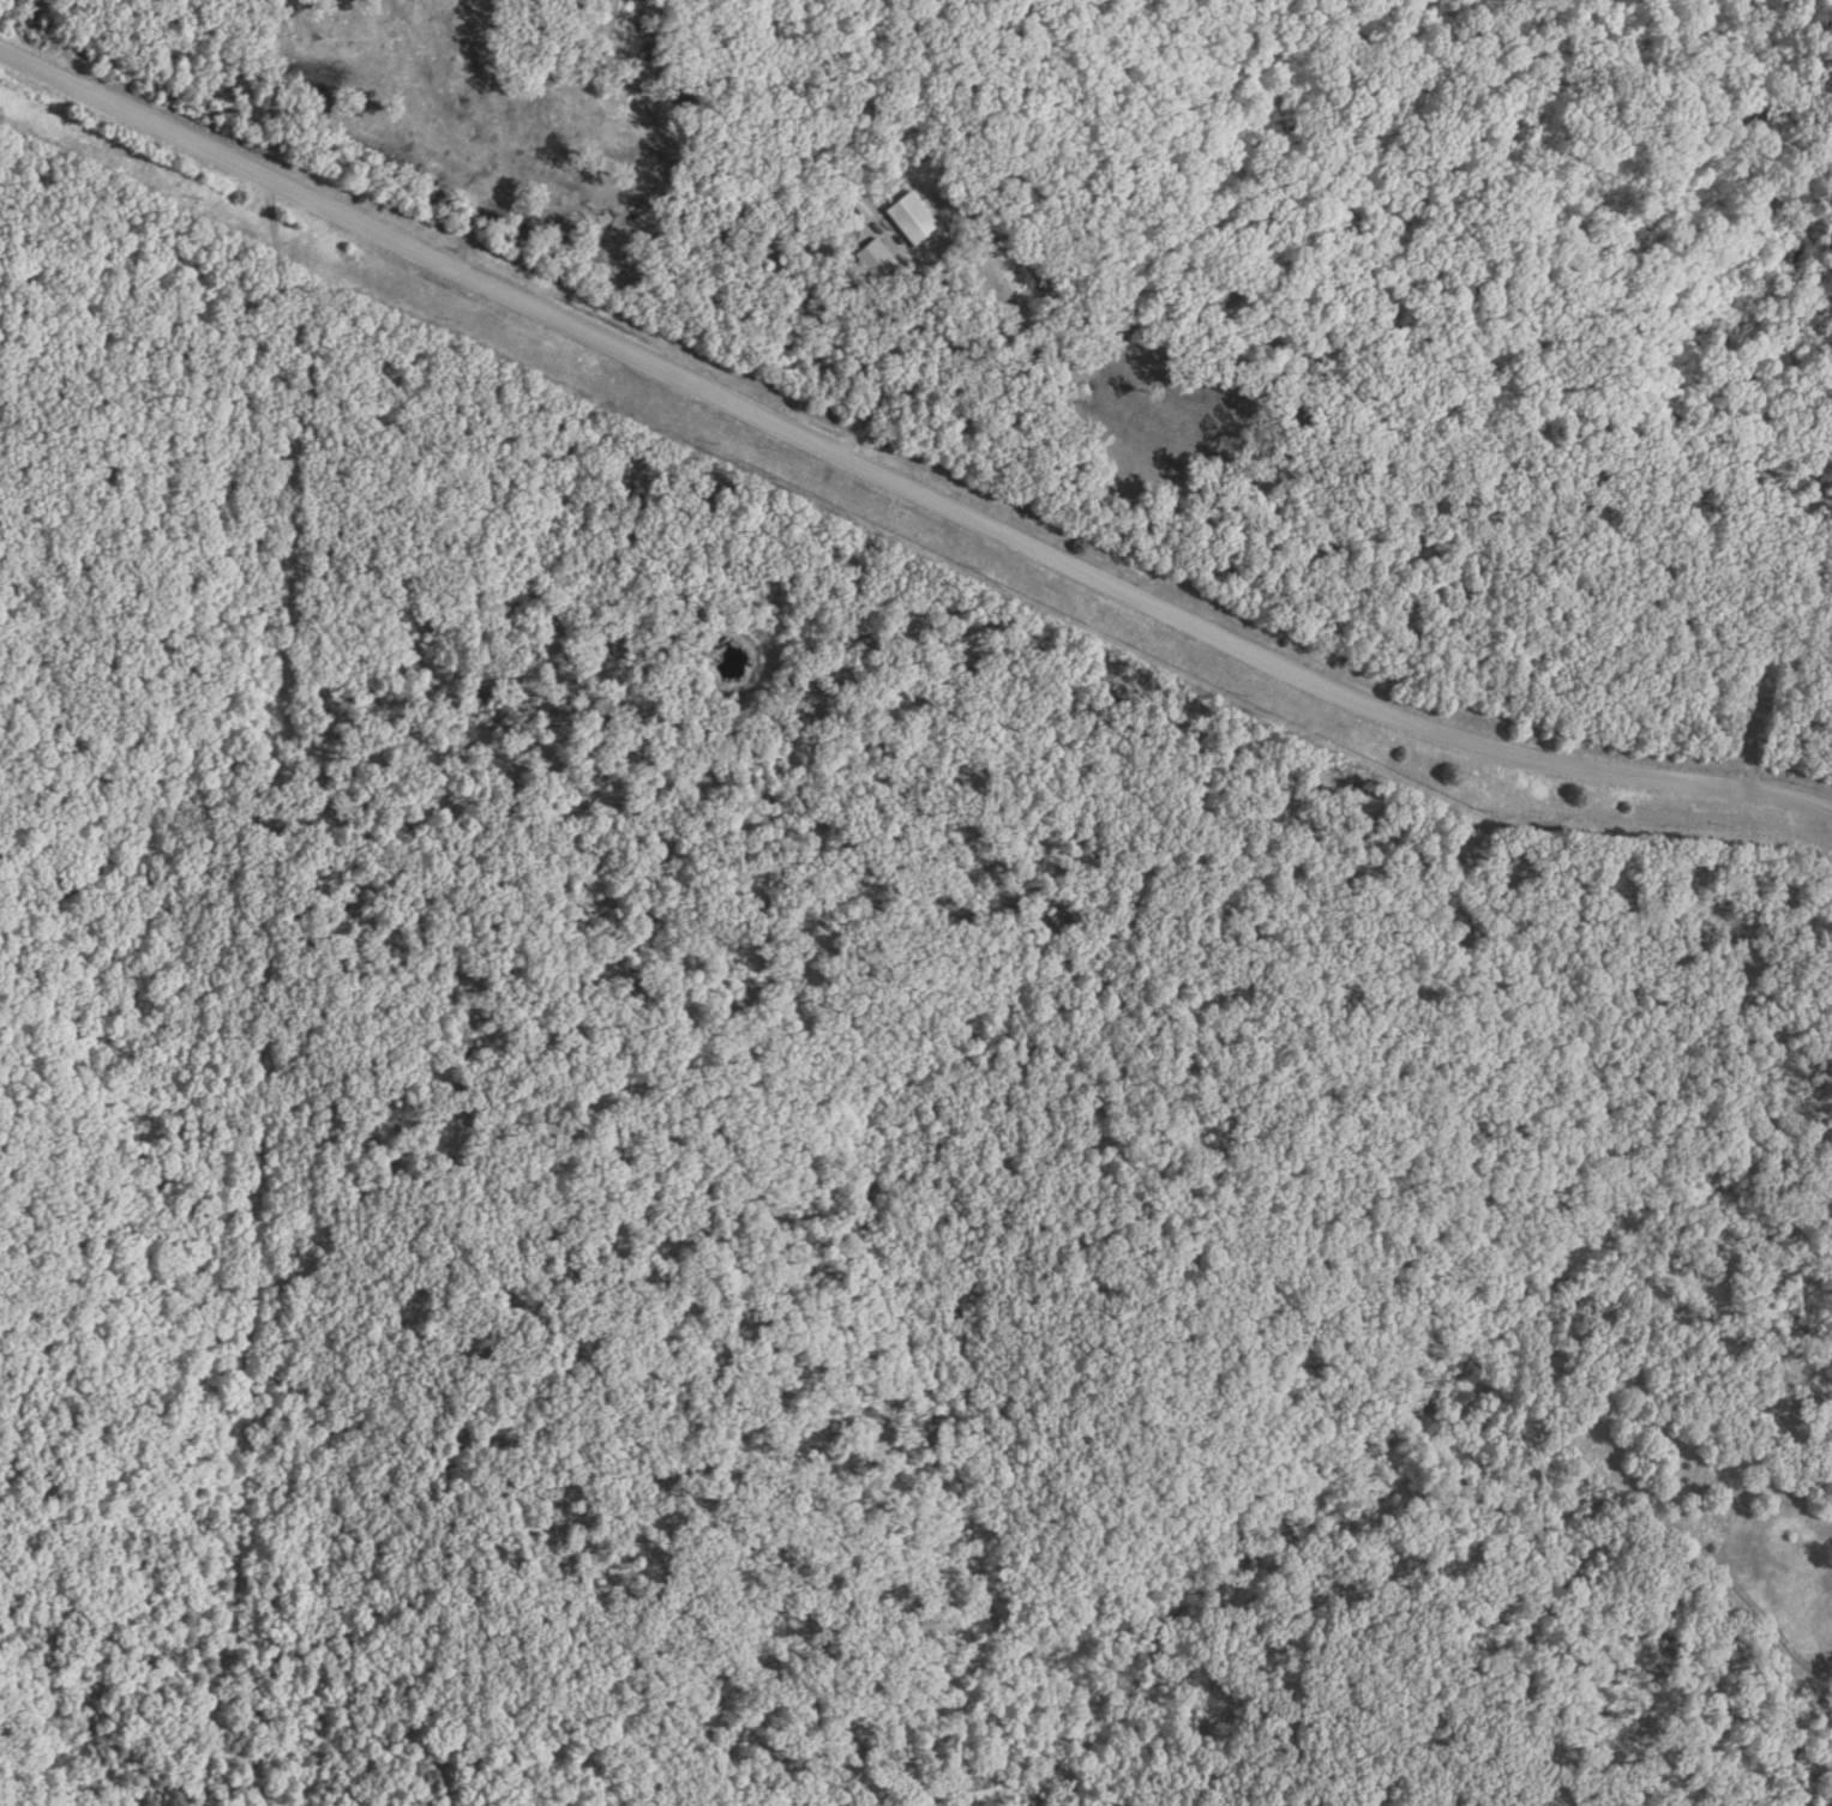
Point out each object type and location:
road: (897, 483)

